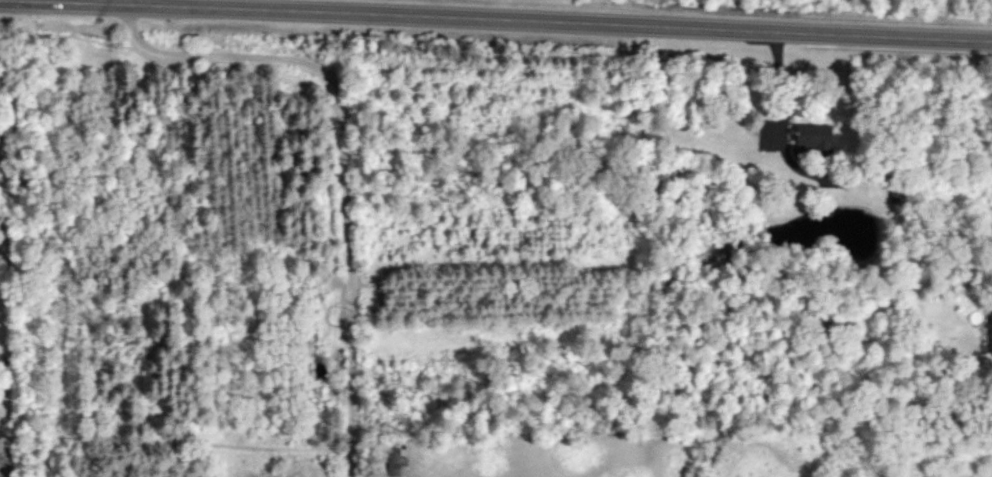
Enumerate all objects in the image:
road: (161, 3)
road: (498, 20)
building: (817, 136)
road: (348, 156)
building: (399, 463)

